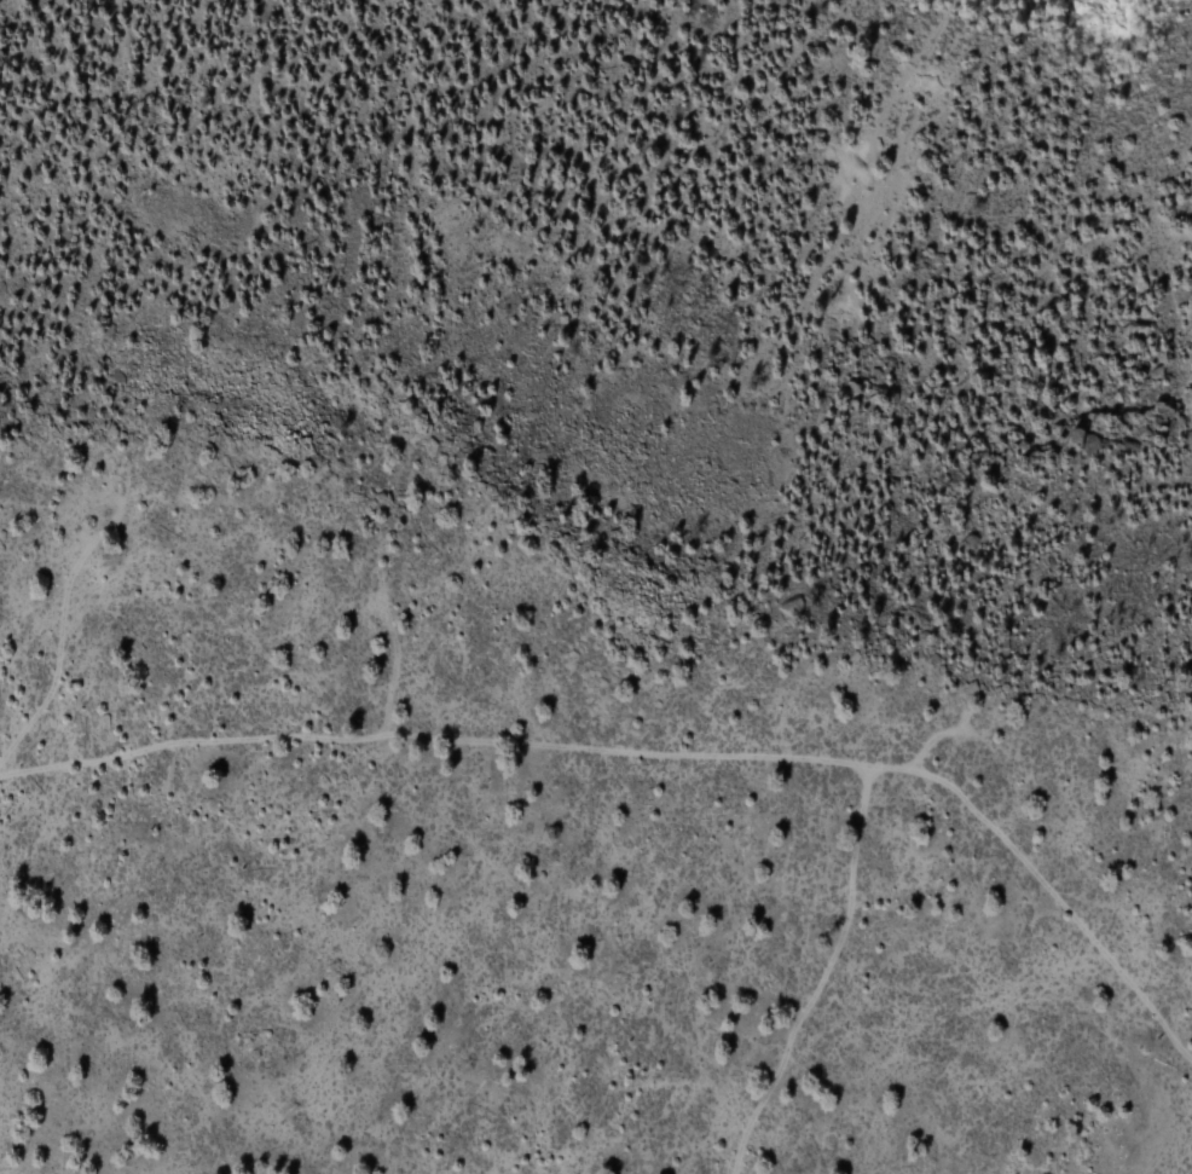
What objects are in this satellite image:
road: (941, 736)
road: (658, 754)
road: (823, 977)

